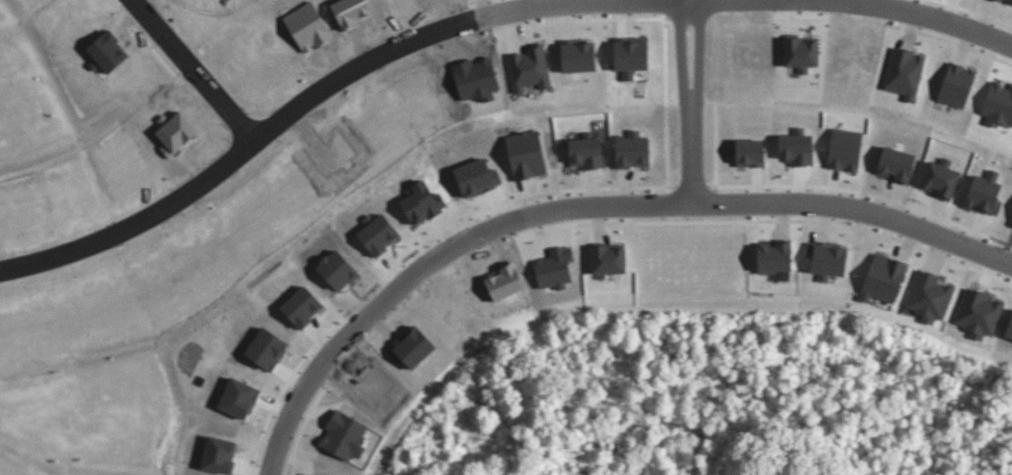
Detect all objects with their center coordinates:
building: (1000, 0)
building: (1010, 0)
road: (749, 2)
road: (698, 53)
building: (801, 53)
road: (680, 54)
building: (578, 55)
building: (630, 56)
building: (529, 68)
building: (904, 72)
building: (956, 84)
building: (998, 104)
road: (287, 125)
building: (796, 147)
building: (632, 149)
building: (844, 149)
building: (586, 151)
building: (749, 152)
road: (693, 159)
building: (895, 163)
building: (984, 193)
road: (789, 210)
building: (1011, 223)
road: (140, 228)
building: (773, 256)
building: (608, 259)
building: (828, 260)
building: (883, 278)
building: (929, 296)
road: (378, 304)
building: (978, 313)
building: (1009, 328)

